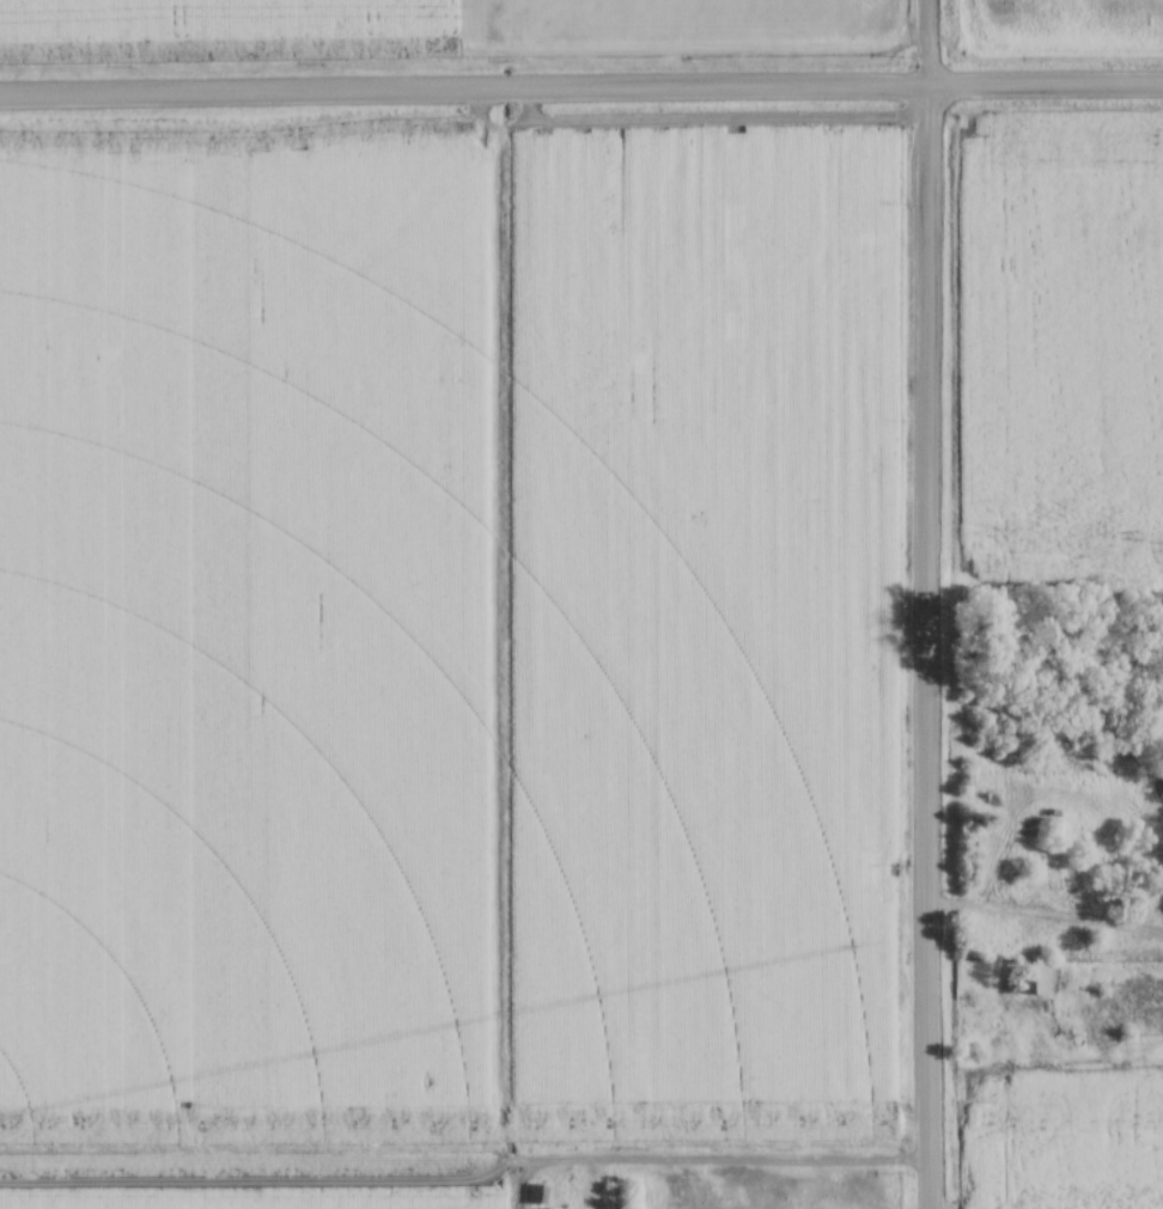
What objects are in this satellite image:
crop: (402, 24)
crop: (1060, 24)
road: (580, 91)
crop: (1064, 349)
road: (926, 604)
crop: (444, 652)
road: (1045, 909)
building: (1033, 976)
crop: (1059, 1136)
building: (534, 1192)
building: (607, 1197)

